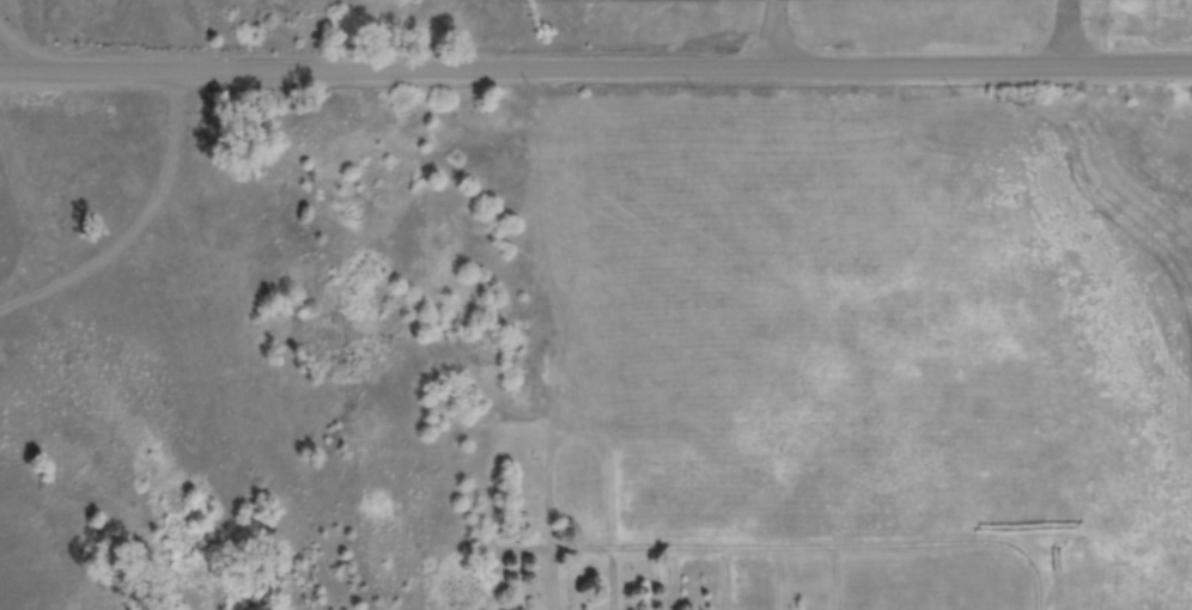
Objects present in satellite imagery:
road: (596, 67)
road: (184, 305)
road: (755, 527)
road: (723, 568)
road: (779, 568)
road: (833, 568)
road: (613, 569)
road: (668, 569)

